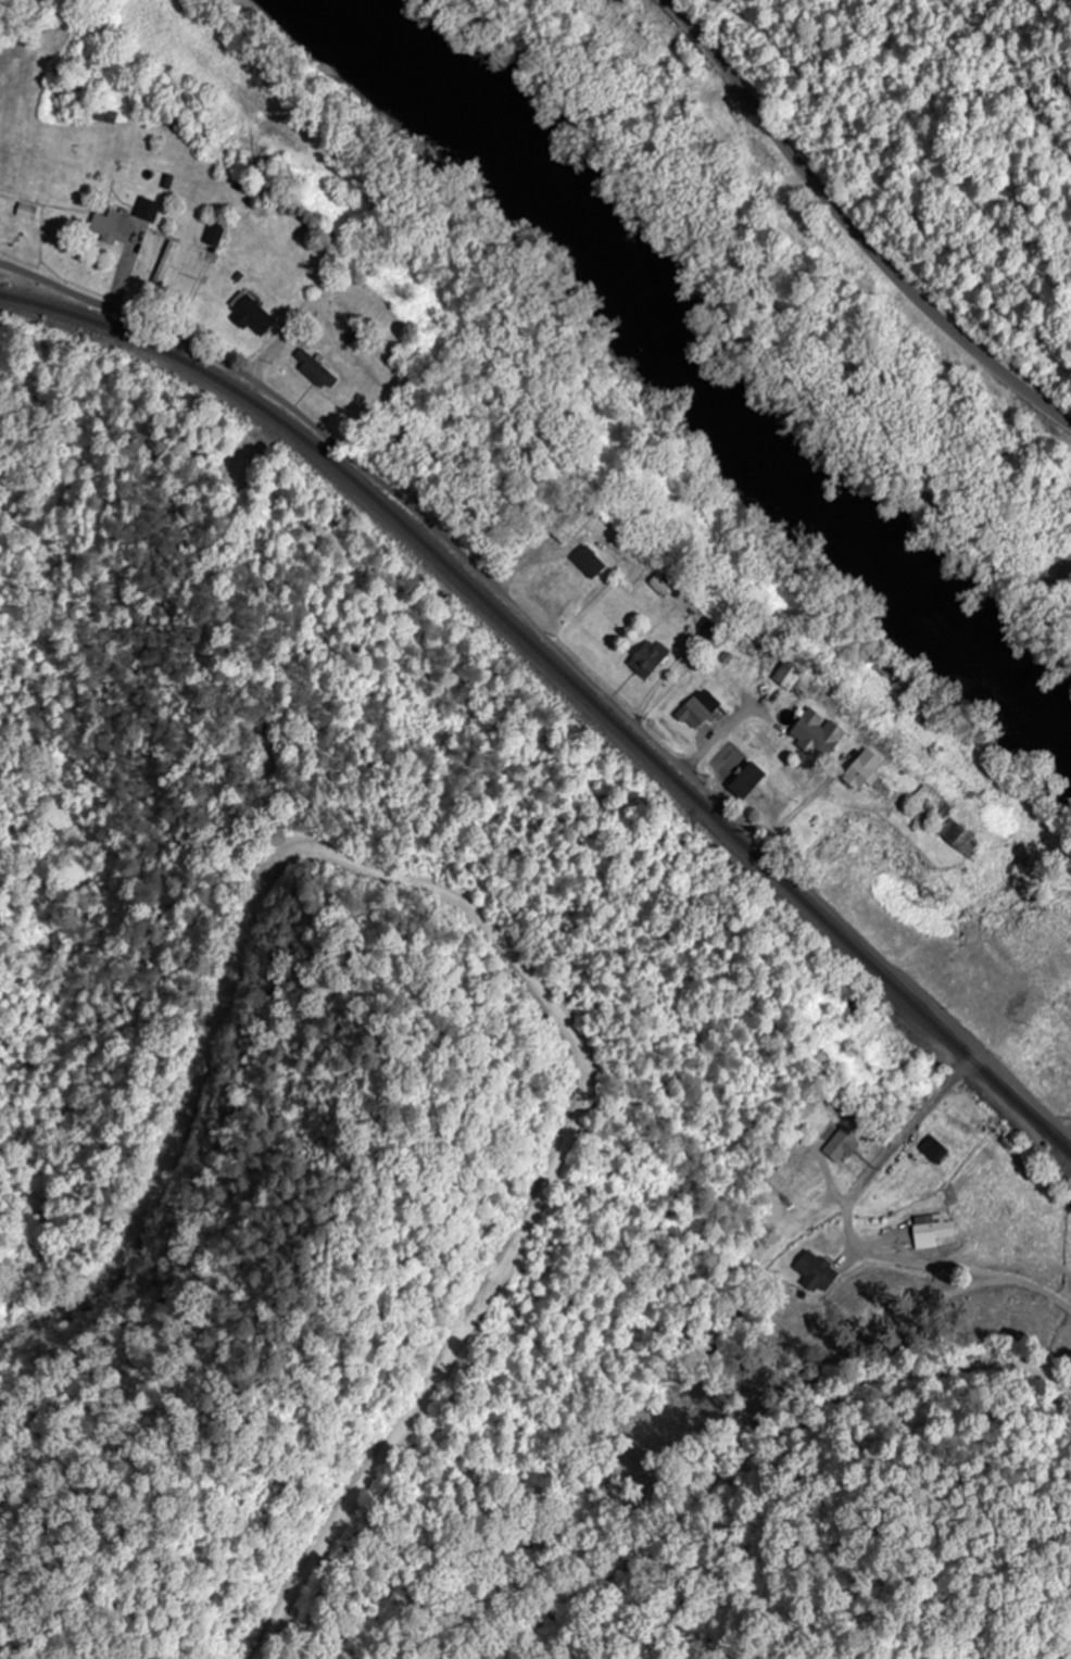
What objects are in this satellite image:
building: (739, 141)
park: (7, 209)
building: (148, 209)
building: (27, 211)
building: (113, 227)
road: (848, 229)
building: (793, 231)
building: (215, 234)
building: (179, 255)
building: (251, 314)
river: (696, 356)
building: (318, 375)
building: (395, 439)
building: (568, 519)
building: (589, 562)
building: (707, 632)
building: (648, 658)
road: (564, 662)
building: (787, 676)
railway: (565, 679)
building: (698, 709)
building: (817, 734)
building: (861, 771)
building: (746, 781)
building: (930, 800)
building: (956, 835)
road: (499, 938)
building: (1067, 1016)
building: (893, 1053)
building: (841, 1146)
building: (934, 1151)
building: (933, 1230)
road: (852, 1241)
building: (817, 1271)
road: (752, 1453)

